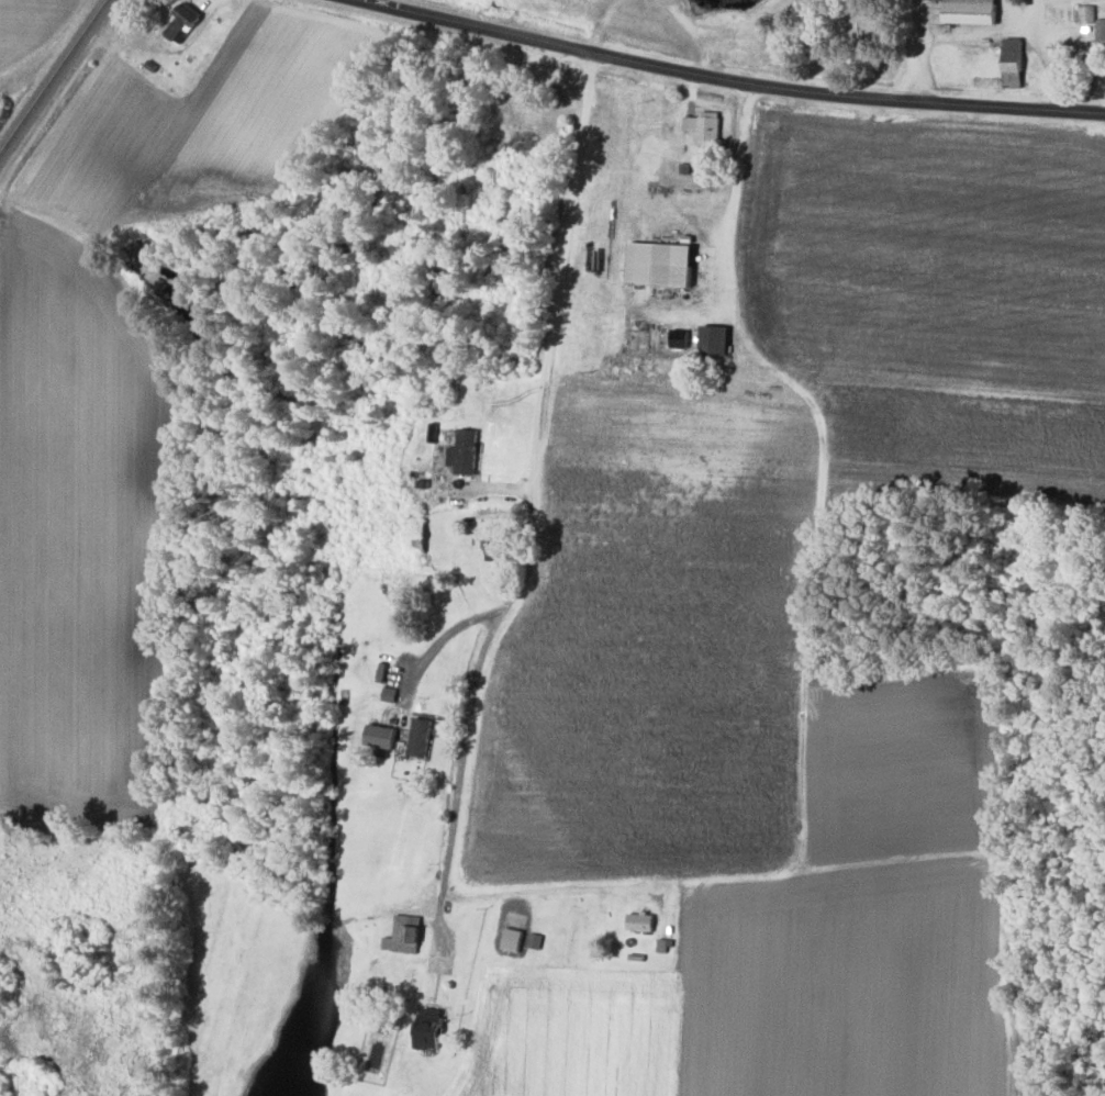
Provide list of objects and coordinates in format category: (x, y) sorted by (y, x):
building: (970, 11)
building: (181, 21)
road: (915, 53)
road: (1050, 56)
building: (1012, 61)
railway: (53, 75)
road: (716, 81)
road: (60, 86)
building: (705, 127)
building: (660, 262)
building: (678, 338)
building: (713, 339)
building: (462, 451)
road: (822, 460)
building: (494, 548)
road: (445, 639)
building: (379, 736)
building: (418, 736)
road: (456, 861)
building: (639, 921)
building: (402, 935)
building: (511, 939)
building: (534, 940)
building: (427, 1028)

